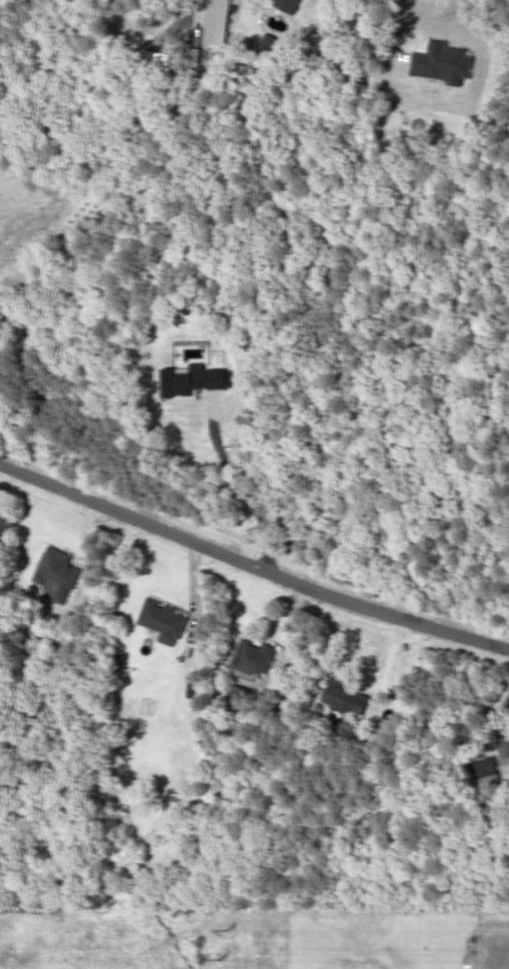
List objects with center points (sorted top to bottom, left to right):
building: (287, 5)
building: (216, 22)
building: (442, 63)
building: (192, 380)
road: (251, 565)
building: (57, 572)
building: (162, 620)
building: (253, 656)
building: (238, 695)
building: (347, 696)
building: (508, 759)
power tower: (225, 930)
power tower: (216, 960)

